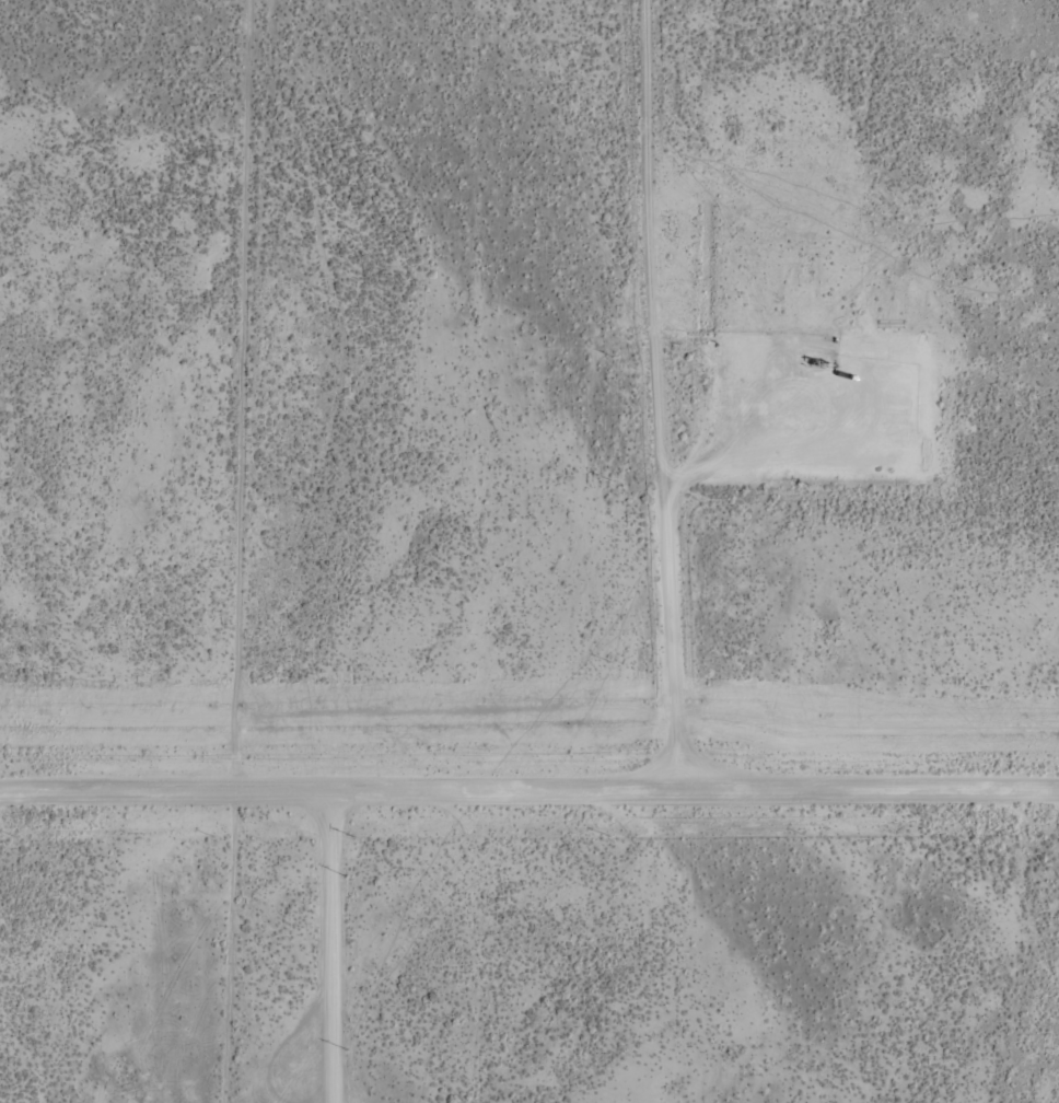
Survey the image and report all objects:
road: (528, 790)

